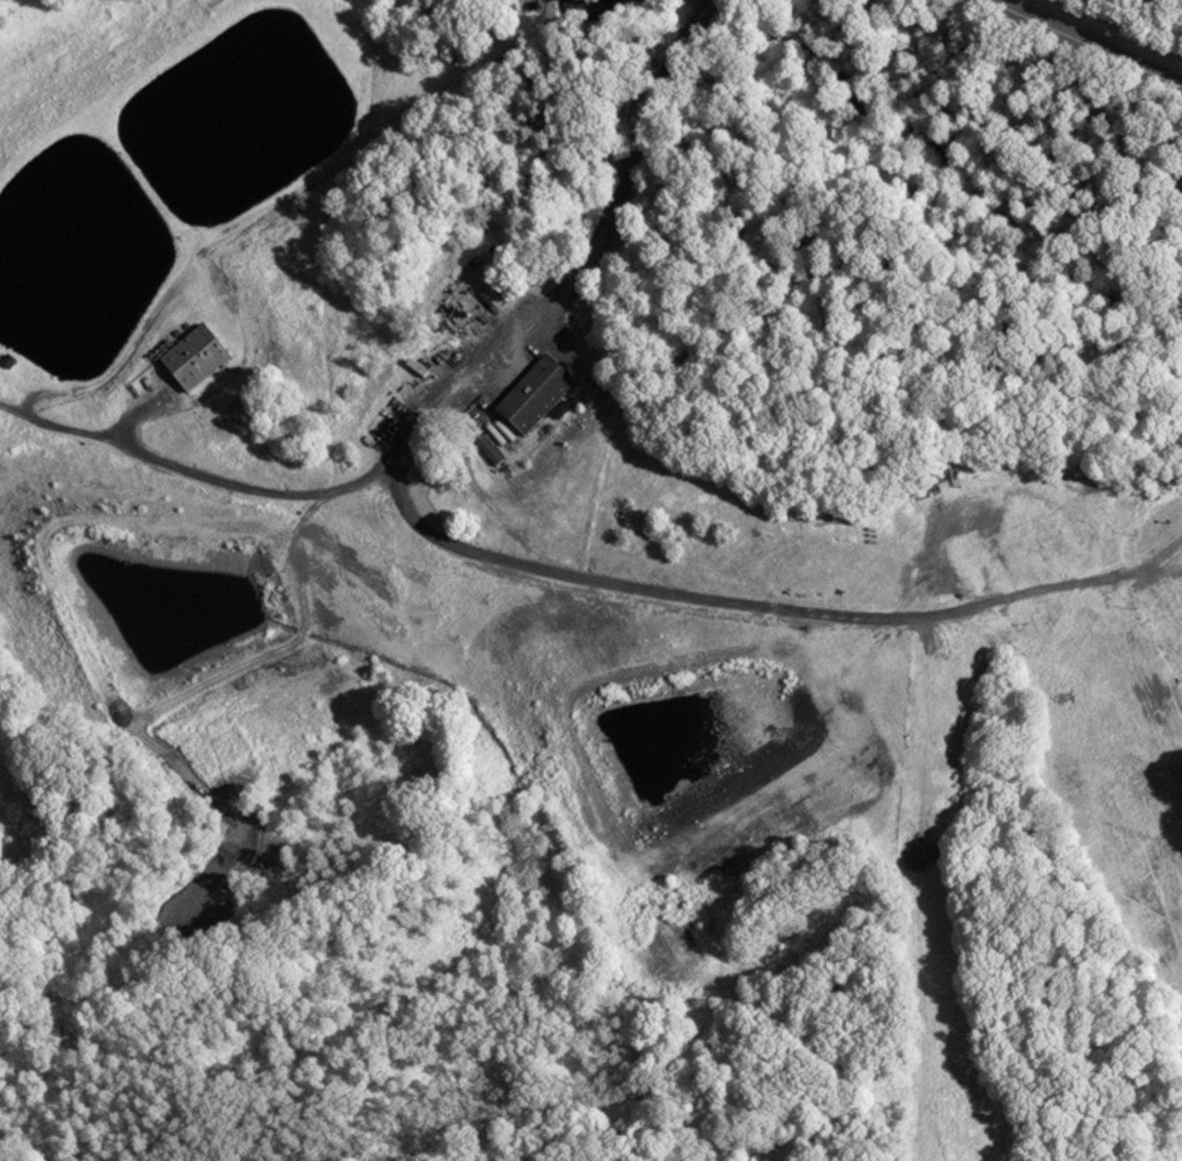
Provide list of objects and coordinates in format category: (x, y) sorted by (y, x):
road: (1084, 43)
road: (586, 260)
building: (192, 356)
building: (533, 392)
road: (193, 471)
road: (738, 597)
building: (1122, 603)
ski resort: (890, 746)

